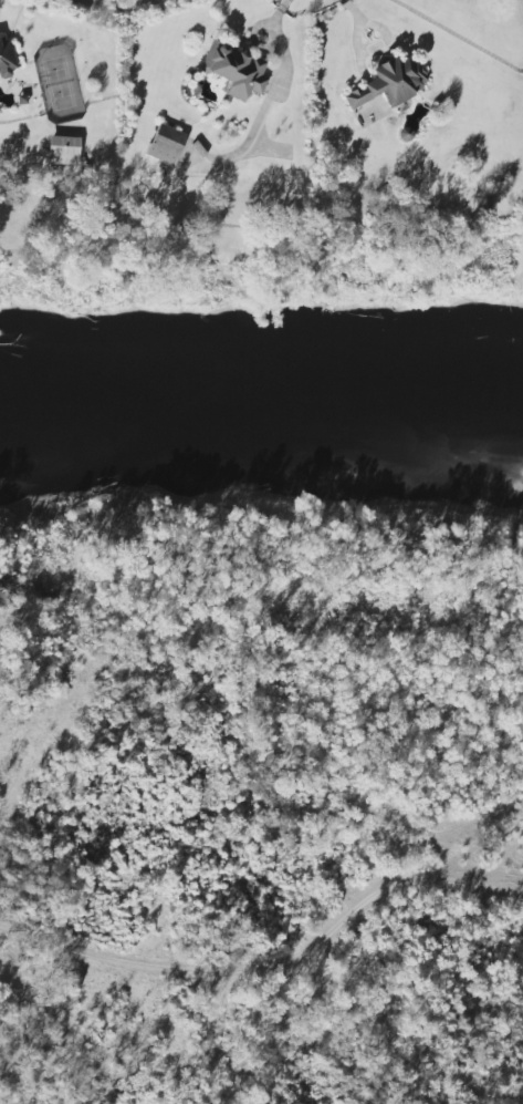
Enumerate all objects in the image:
road: (352, 11)
road: (376, 48)
building: (4, 59)
road: (280, 66)
building: (232, 71)
building: (383, 91)
building: (165, 145)
building: (62, 151)
river: (261, 388)
road: (272, 963)

